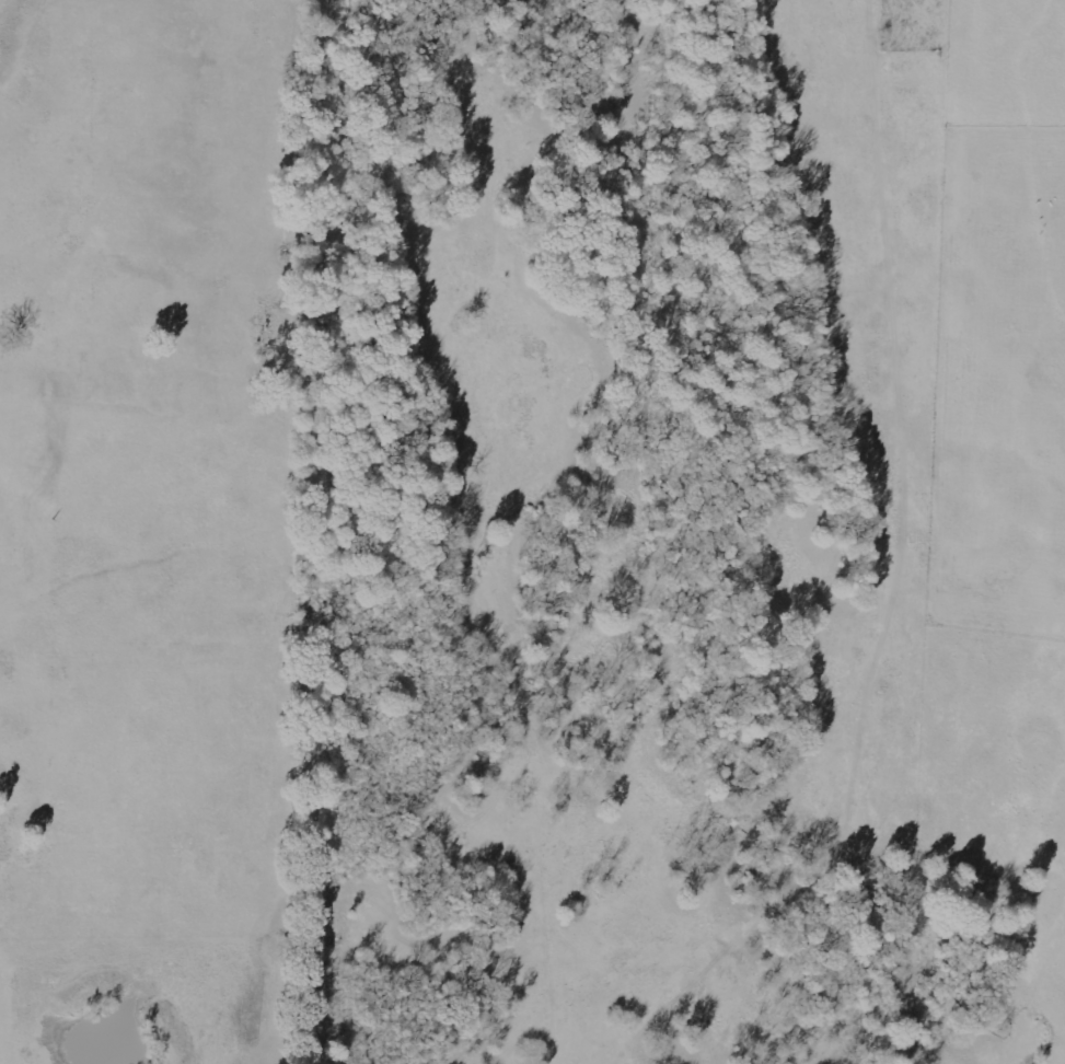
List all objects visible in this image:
road: (299, 48)

